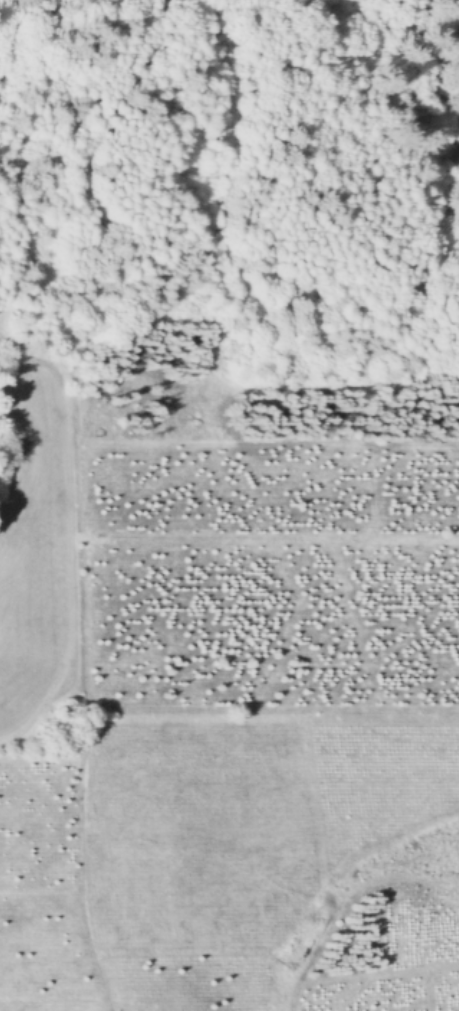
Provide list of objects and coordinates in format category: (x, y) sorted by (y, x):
road: (30, 289)

